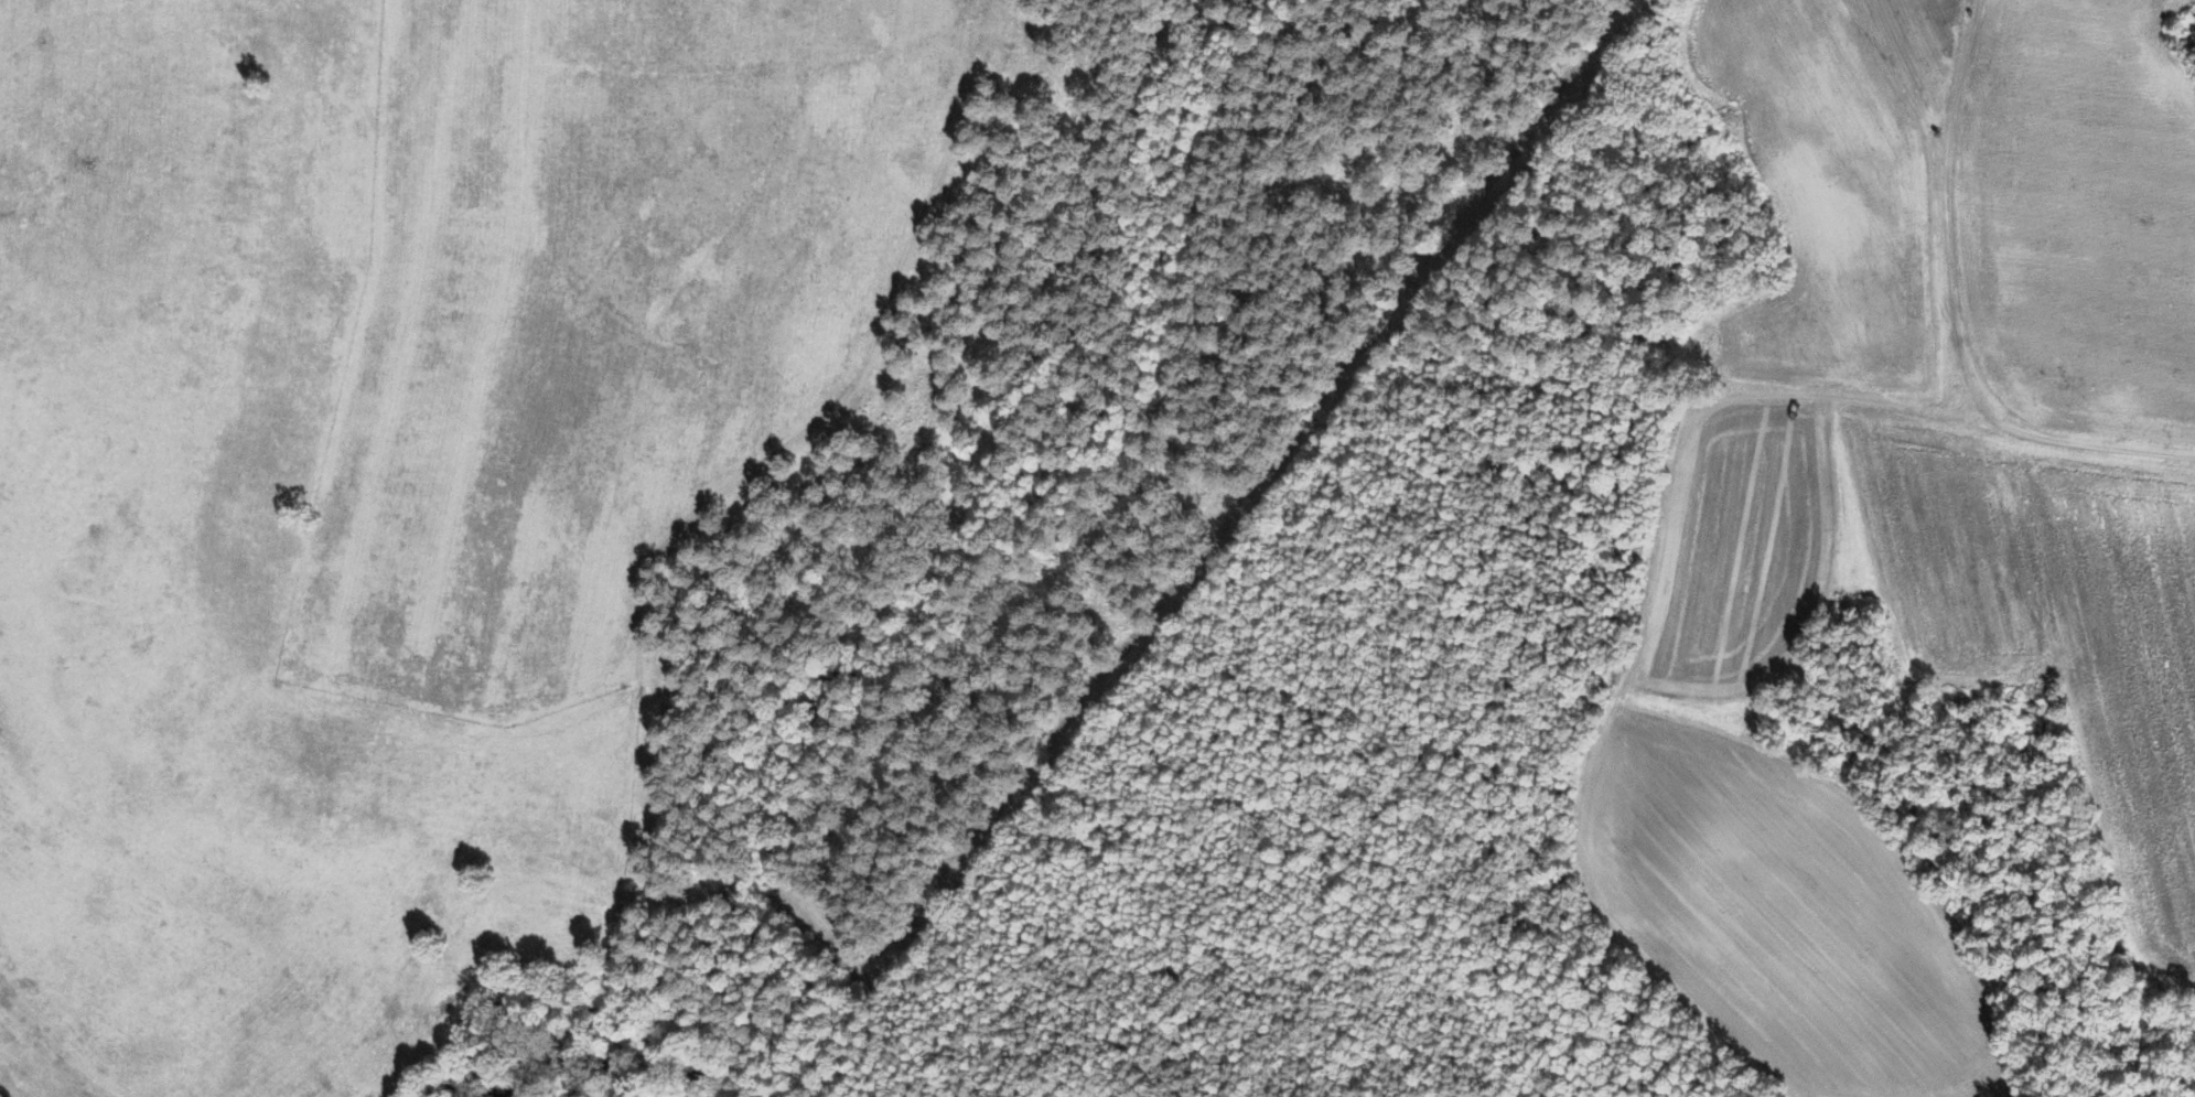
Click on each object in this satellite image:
road: (1962, 309)

